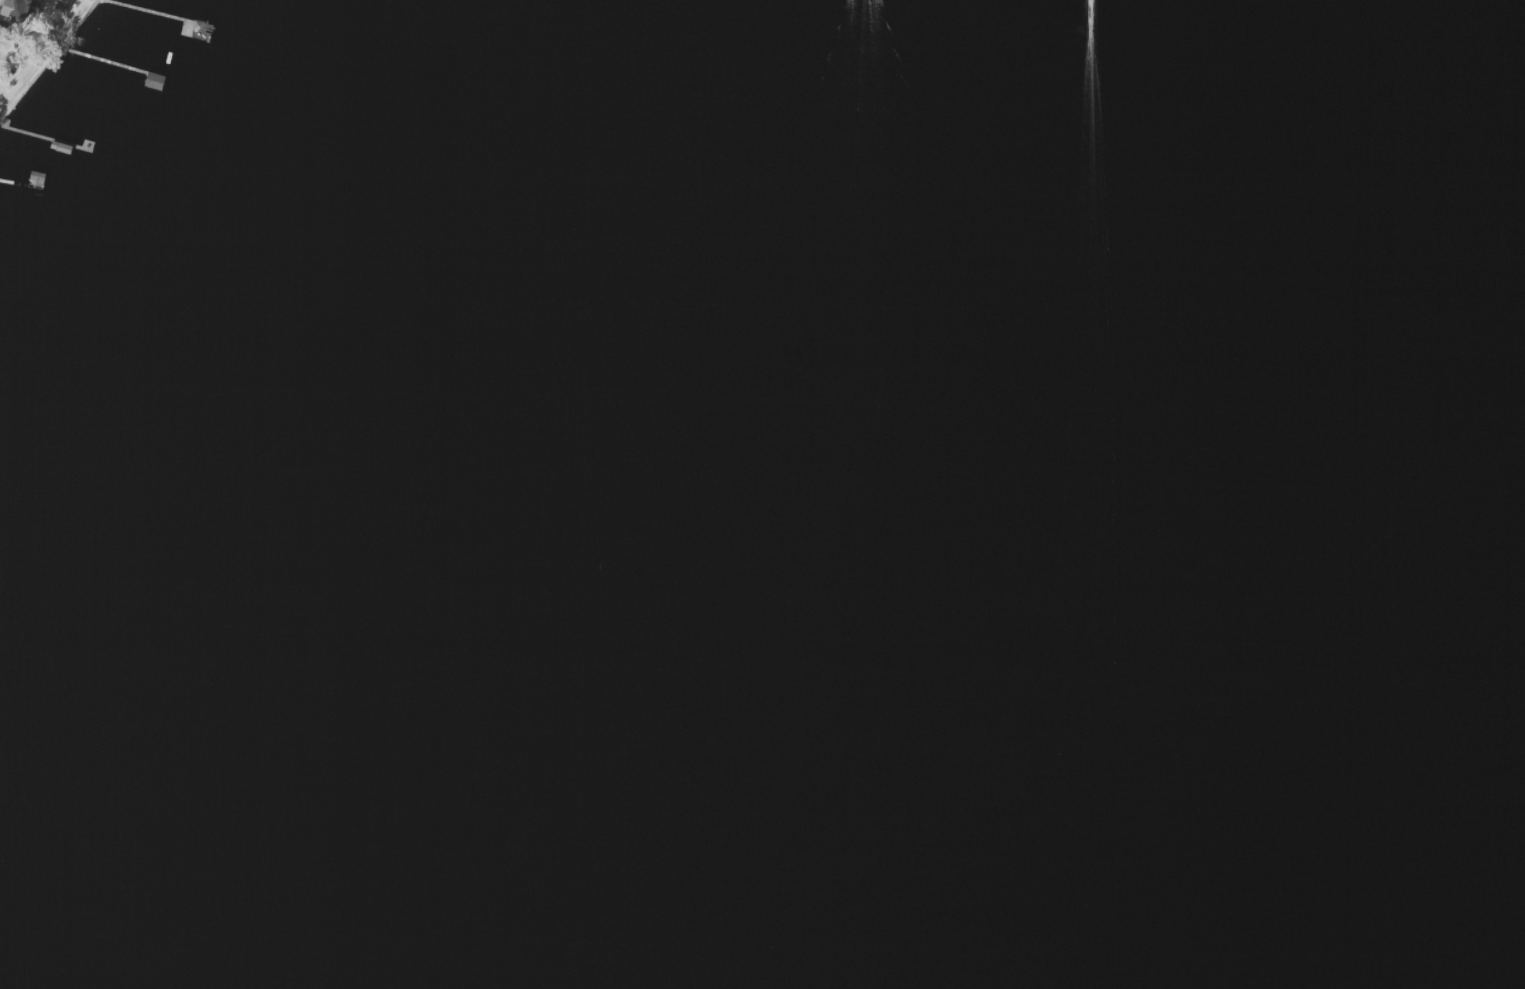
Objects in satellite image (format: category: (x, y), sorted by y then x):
building: (13, 8)
road: (4, 23)
building: (33, 180)
river: (1278, 669)

